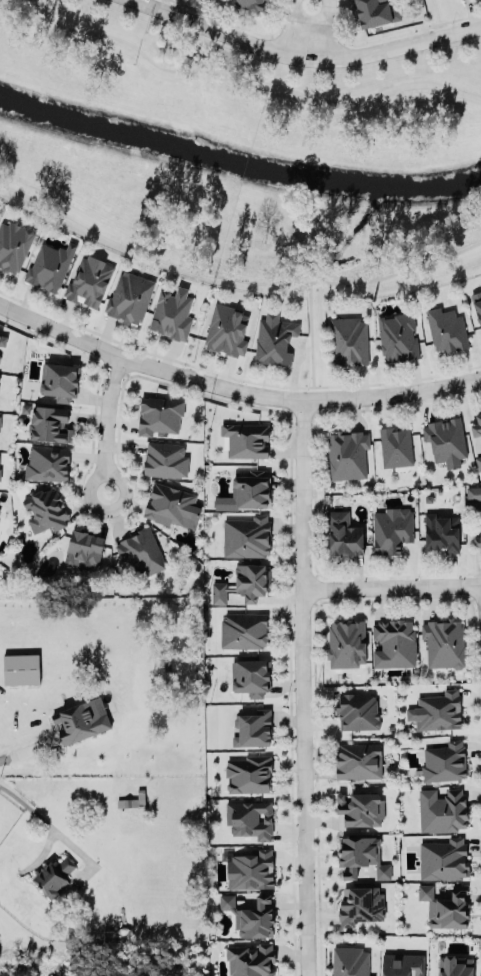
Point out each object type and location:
road: (28, 4)
building: (252, 4)
building: (376, 12)
road: (240, 22)
road: (304, 30)
road: (392, 35)
road: (303, 56)
road: (241, 77)
river: (237, 162)
building: (14, 242)
building: (50, 265)
building: (90, 278)
road: (234, 278)
building: (131, 293)
building: (477, 305)
building: (172, 313)
building: (226, 327)
building: (446, 330)
building: (398, 335)
building: (3, 336)
building: (274, 339)
building: (348, 341)
building: (0, 354)
road: (234, 375)
building: (59, 381)
road: (233, 389)
road: (260, 406)
building: (160, 414)
building: (0, 418)
building: (51, 420)
road: (105, 422)
building: (477, 422)
building: (446, 438)
building: (246, 439)
building: (395, 447)
building: (347, 454)
building: (0, 455)
building: (48, 460)
building: (165, 460)
building: (479, 461)
building: (1, 471)
building: (250, 487)
building: (473, 493)
building: (170, 503)
building: (0, 509)
building: (46, 510)
building: (393, 527)
building: (344, 532)
building: (441, 532)
building: (246, 536)
building: (477, 541)
building: (84, 545)
building: (141, 549)
building: (245, 580)
road: (391, 586)
road: (302, 595)
building: (244, 629)
building: (347, 641)
building: (394, 643)
building: (443, 643)
building: (21, 668)
building: (253, 674)
building: (437, 709)
building: (357, 710)
building: (80, 718)
building: (253, 728)
road: (27, 749)
building: (444, 760)
building: (358, 761)
building: (249, 772)
road: (11, 794)
building: (361, 806)
building: (442, 808)
building: (250, 816)
building: (364, 852)
building: (444, 857)
building: (251, 868)
building: (55, 873)
road: (305, 884)
building: (227, 901)
building: (446, 903)
building: (360, 904)
building: (255, 918)
building: (252, 958)
building: (350, 961)
building: (403, 963)
building: (455, 964)

